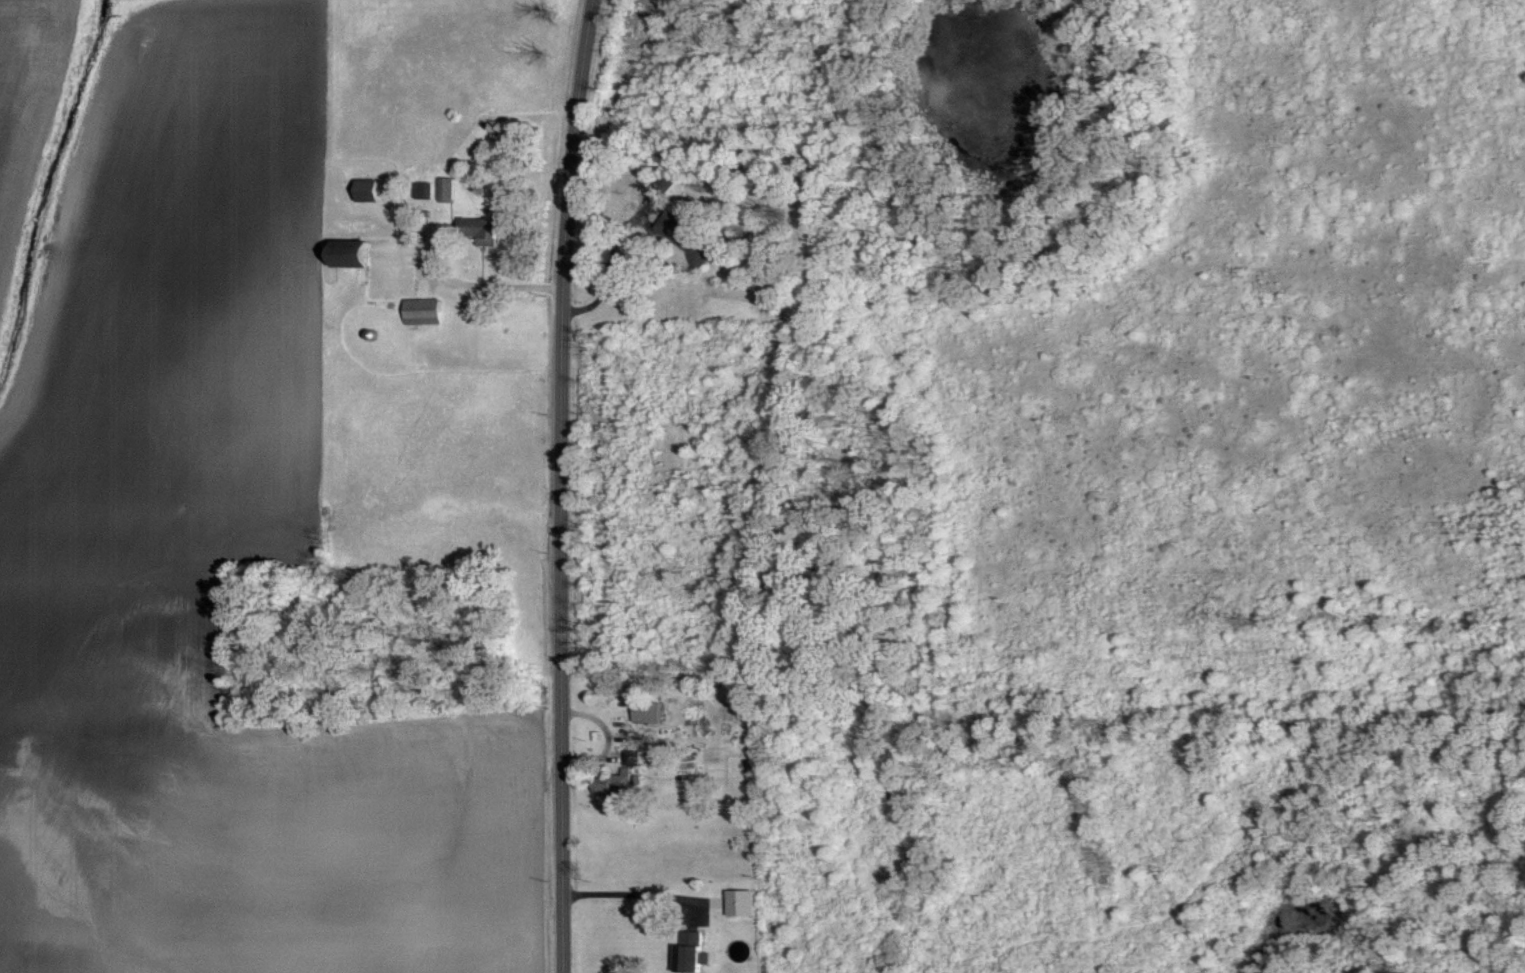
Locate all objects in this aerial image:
building: (461, 152)
building: (661, 186)
building: (368, 189)
building: (448, 189)
building: (426, 190)
building: (480, 229)
building: (687, 235)
building: (354, 252)
road: (460, 284)
building: (424, 310)
road: (560, 485)
building: (649, 710)
building: (621, 777)
road: (627, 891)
building: (691, 950)

